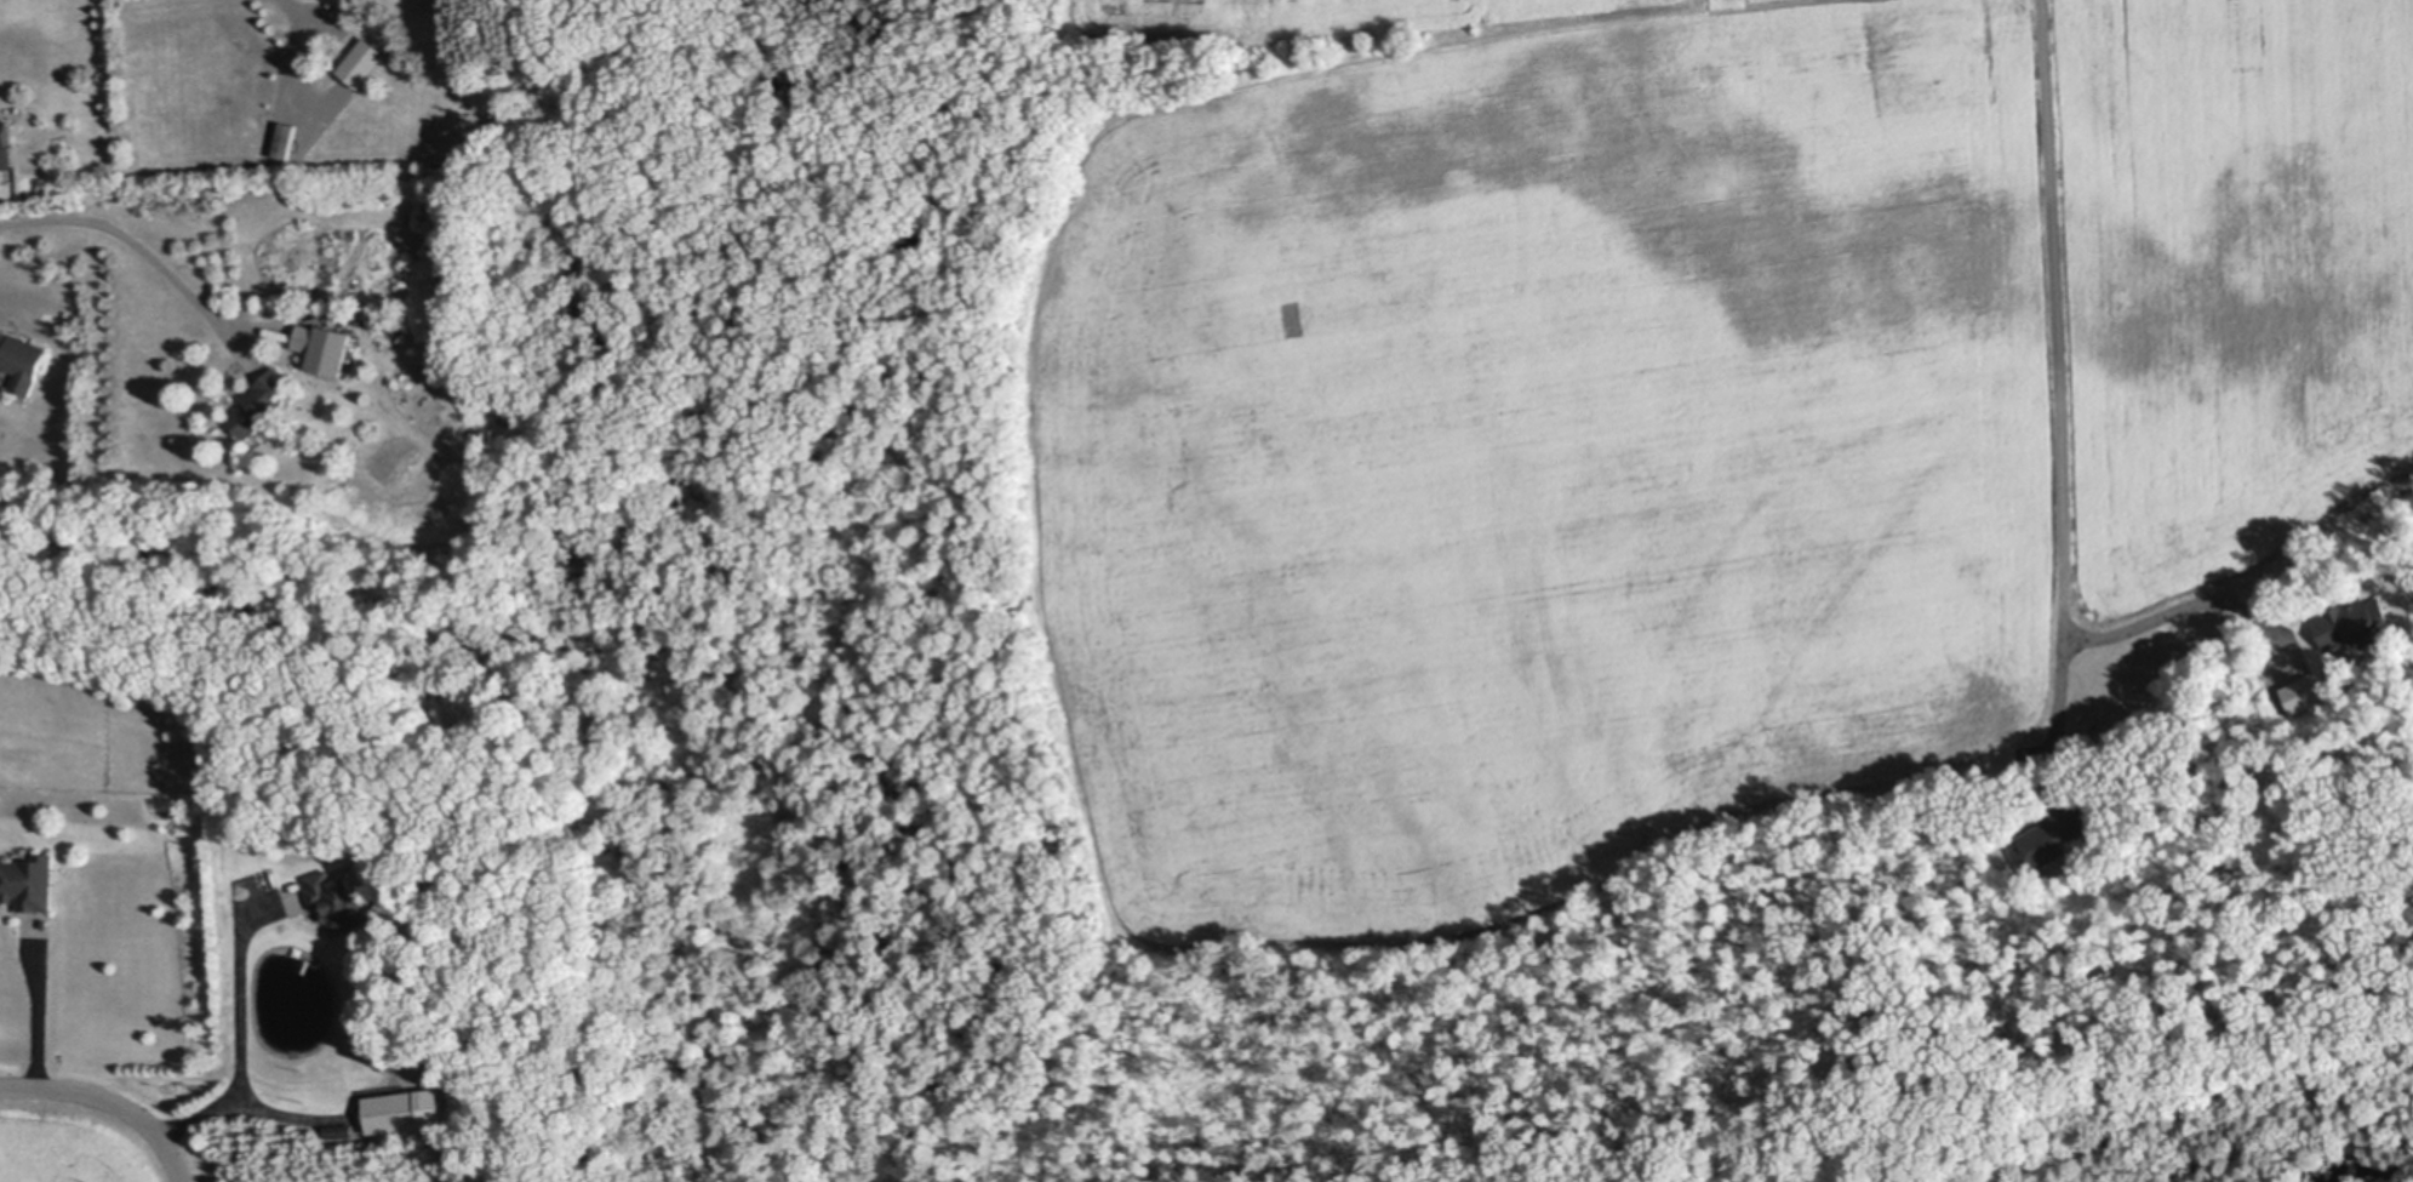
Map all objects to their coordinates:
road: (301, 50)
building: (364, 63)
building: (286, 141)
building: (6, 144)
road: (145, 255)
building: (396, 324)
building: (309, 337)
building: (23, 360)
road: (2057, 401)
building: (261, 404)
road: (2197, 605)
building: (2356, 623)
building: (2308, 693)
building: (2051, 841)
building: (30, 883)
building: (339, 901)
road: (38, 1005)
road: (242, 1039)
road: (113, 1097)
road: (285, 1108)
building: (407, 1110)
building: (342, 1127)
river: (2395, 1177)

